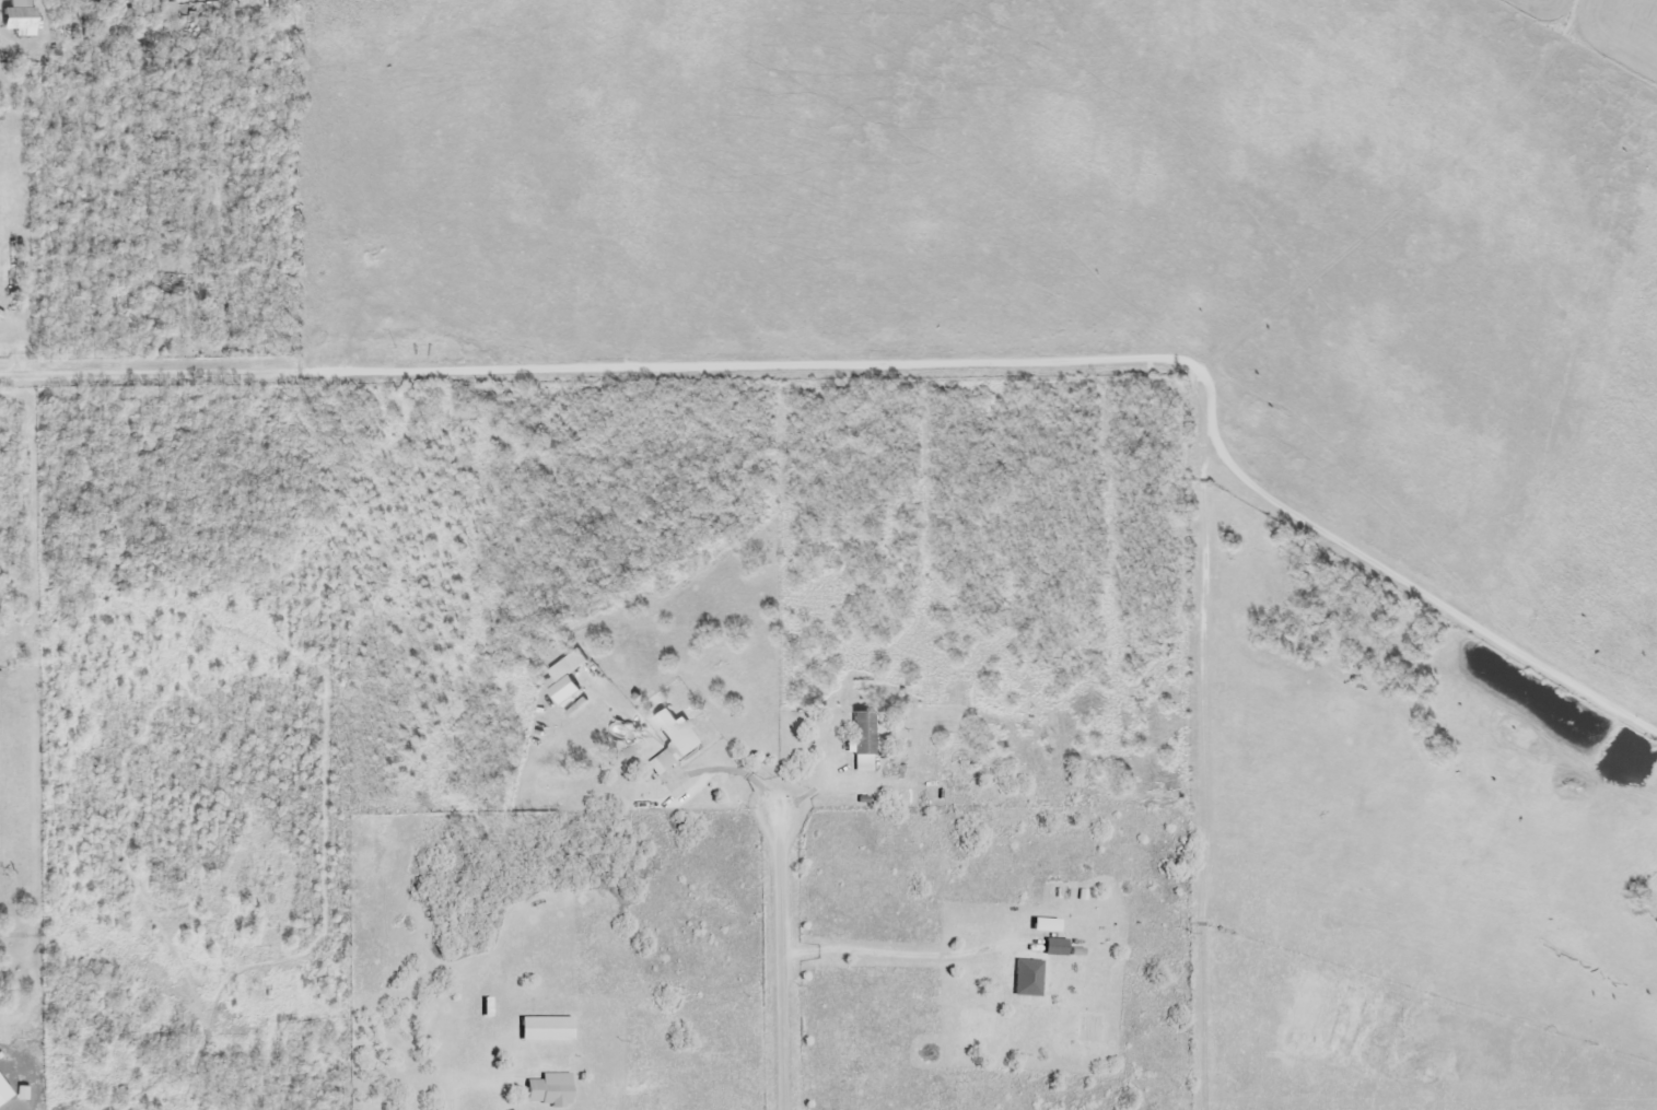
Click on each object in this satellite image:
building: (20, 17)
building: (171, 283)
road: (607, 366)
building: (564, 678)
building: (864, 734)
building: (674, 740)
building: (1048, 926)
building: (1059, 947)
building: (1029, 979)
building: (548, 1030)
building: (548, 1063)
building: (20, 1094)

